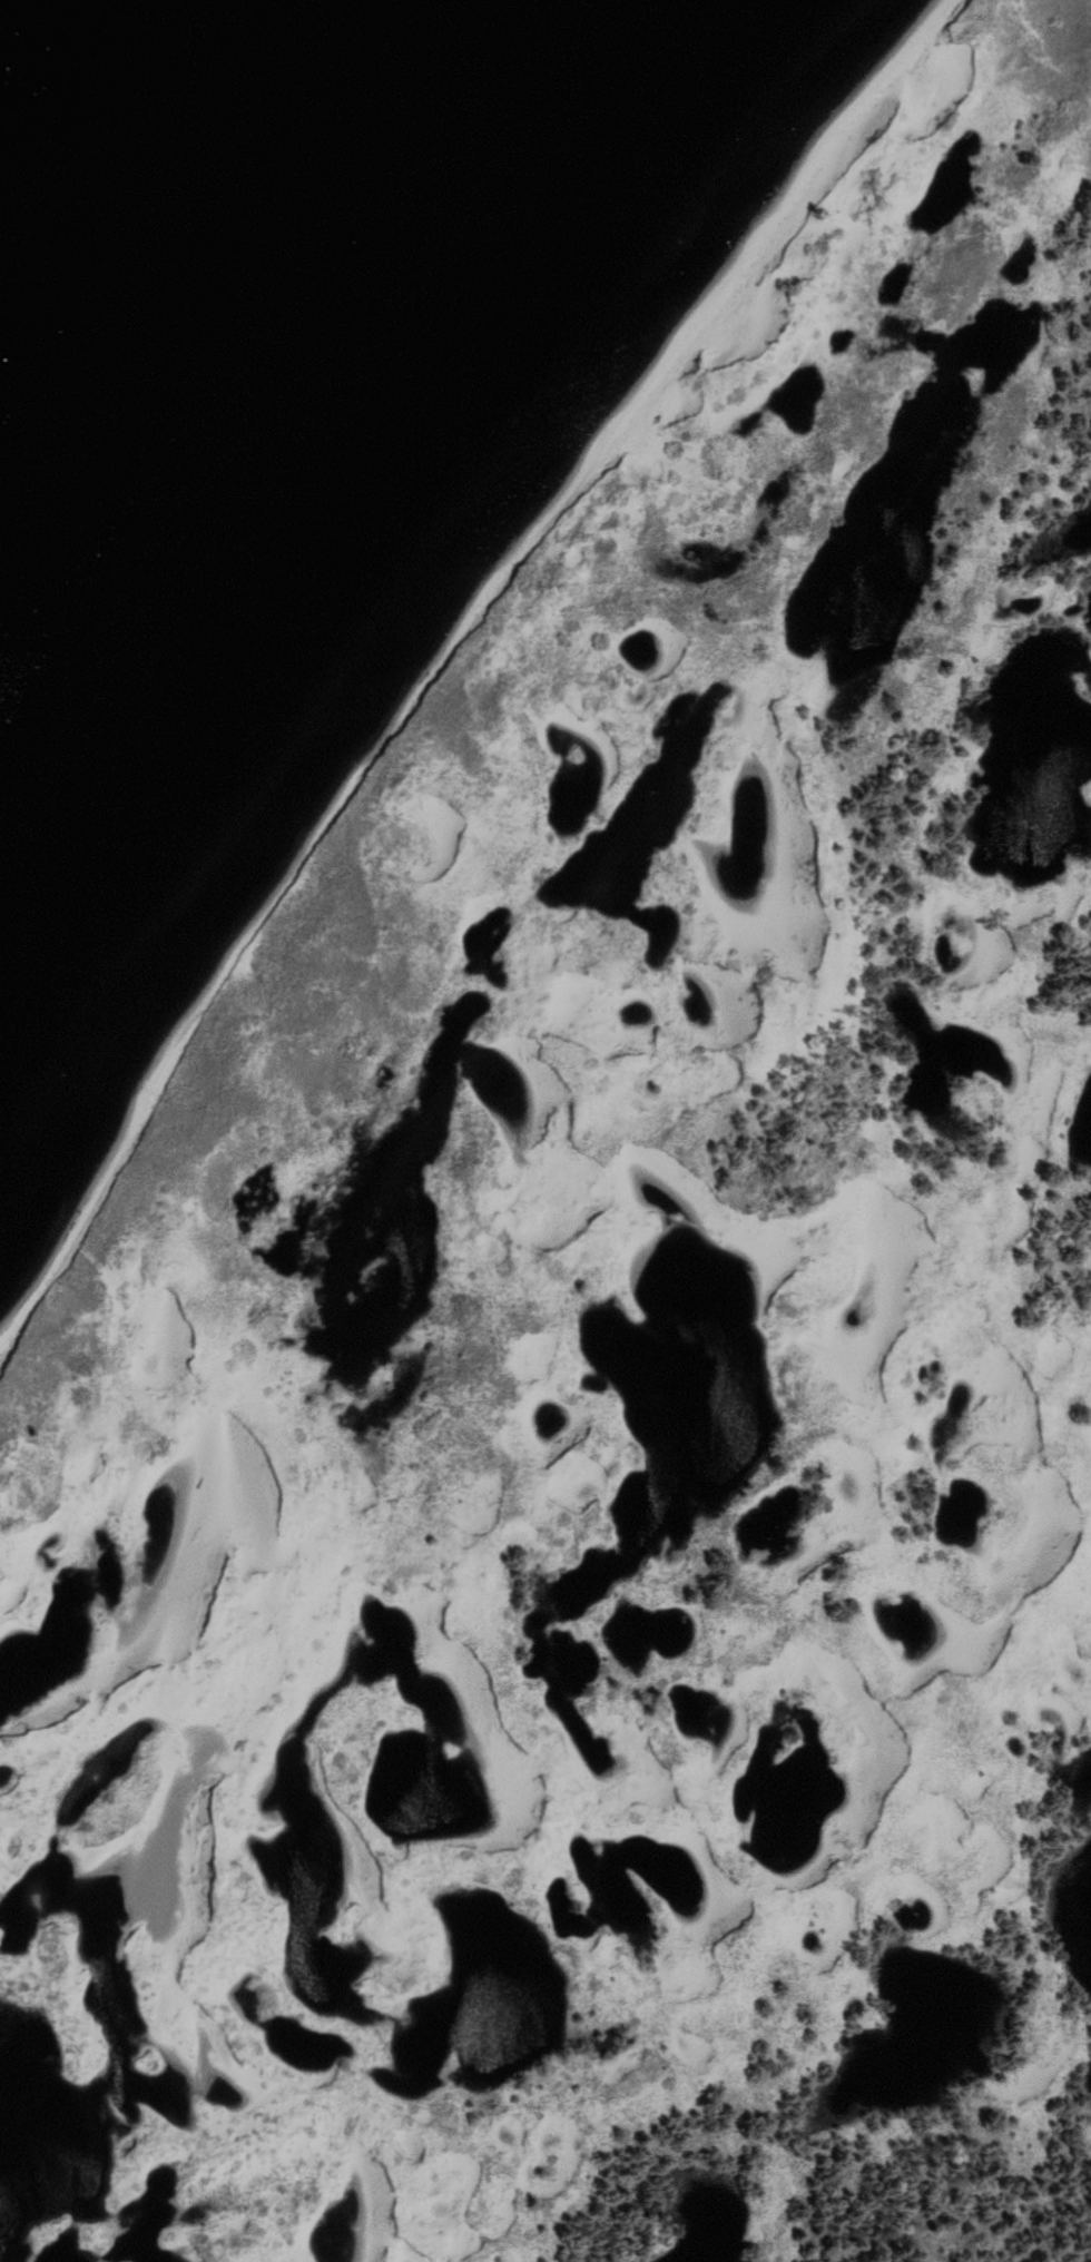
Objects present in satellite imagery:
park: (607, 1290)

